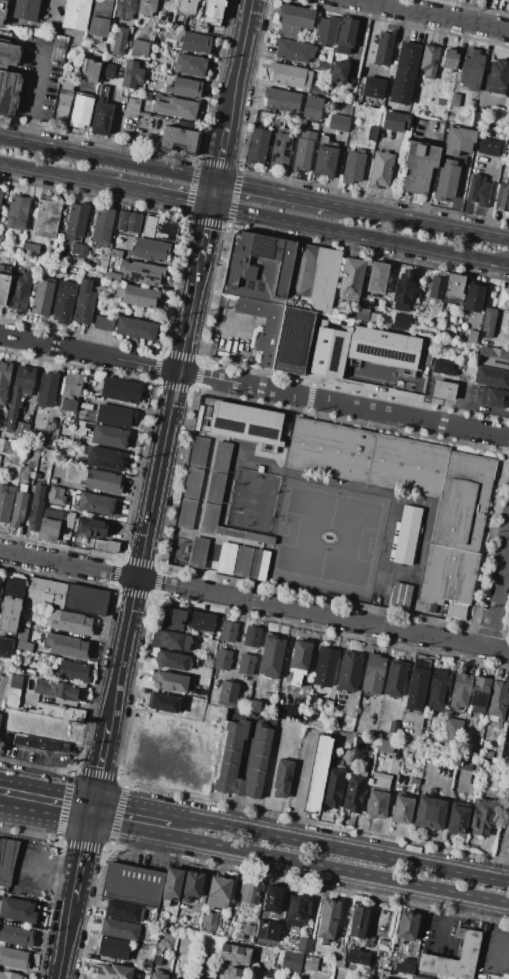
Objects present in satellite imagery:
building: (506, 0)
building: (186, 6)
building: (1, 7)
building: (146, 7)
building: (25, 9)
building: (125, 9)
building: (213, 11)
road: (52, 12)
building: (75, 14)
road: (436, 14)
building: (99, 19)
building: (294, 19)
building: (200, 26)
building: (327, 31)
building: (345, 36)
building: (118, 41)
building: (194, 43)
road: (372, 43)
building: (101, 47)
road: (242, 47)
building: (384, 48)
building: (139, 49)
building: (293, 50)
building: (9, 54)
building: (70, 54)
building: (449, 59)
building: (429, 61)
building: (189, 65)
building: (323, 67)
building: (471, 69)
building: (108, 71)
building: (338, 71)
building: (404, 72)
building: (132, 75)
building: (290, 75)
building: (497, 76)
building: (184, 87)
building: (372, 87)
building: (319, 90)
building: (8, 91)
building: (103, 92)
road: (37, 94)
building: (148, 95)
building: (343, 95)
building: (63, 99)
building: (282, 100)
building: (454, 100)
building: (472, 103)
building: (312, 107)
building: (132, 108)
building: (175, 108)
building: (80, 111)
road: (230, 111)
building: (344, 112)
building: (375, 117)
building: (476, 118)
building: (101, 119)
building: (277, 119)
building: (394, 121)
building: (300, 123)
building: (338, 123)
building: (372, 133)
building: (179, 139)
building: (323, 139)
building: (458, 141)
building: (257, 145)
building: (489, 147)
building: (280, 150)
building: (303, 151)
road: (221, 153)
road: (107, 158)
building: (324, 161)
road: (433, 166)
building: (352, 167)
building: (418, 167)
road: (394, 168)
building: (380, 169)
road: (54, 174)
building: (446, 179)
traffic signals: (216, 180)
building: (478, 190)
building: (29, 191)
road: (272, 191)
road: (459, 191)
road: (213, 193)
building: (1, 195)
road: (160, 195)
building: (502, 197)
traffic signals: (211, 206)
building: (17, 214)
building: (46, 219)
road: (419, 220)
building: (76, 221)
building: (129, 221)
building: (102, 223)
building: (160, 229)
road: (205, 232)
road: (360, 235)
building: (96, 246)
building: (30, 249)
building: (79, 249)
building: (150, 250)
building: (116, 253)
building: (103, 262)
building: (238, 265)
building: (59, 267)
building: (1, 268)
building: (141, 272)
building: (313, 276)
building: (111, 277)
building: (350, 277)
building: (376, 278)
road: (195, 283)
building: (247, 285)
building: (455, 286)
building: (258, 287)
building: (436, 287)
building: (3, 288)
building: (402, 291)
building: (20, 292)
building: (137, 296)
building: (42, 297)
building: (473, 297)
building: (503, 299)
building: (64, 303)
building: (84, 303)
building: (361, 314)
building: (402, 320)
building: (488, 322)
building: (103, 323)
building: (264, 326)
building: (135, 328)
road: (252, 330)
building: (472, 336)
building: (294, 341)
building: (382, 347)
building: (328, 351)
building: (493, 358)
road: (445, 372)
building: (491, 377)
building: (4, 380)
road: (254, 386)
building: (46, 389)
building: (444, 389)
building: (71, 391)
building: (120, 391)
building: (19, 393)
building: (493, 398)
building: (467, 401)
building: (86, 406)
building: (114, 416)
building: (245, 423)
building: (21, 429)
building: (109, 436)
building: (214, 439)
building: (6, 446)
building: (104, 459)
building: (26, 474)
building: (36, 476)
building: (52, 481)
building: (102, 481)
building: (191, 482)
building: (207, 486)
building: (56, 496)
building: (5, 502)
building: (96, 503)
building: (18, 506)
building: (35, 508)
road: (149, 515)
building: (208, 515)
building: (66, 525)
building: (457, 525)
building: (48, 529)
building: (89, 531)
building: (405, 534)
building: (105, 546)
building: (197, 552)
building: (237, 556)
building: (14, 586)
building: (67, 596)
building: (399, 596)
road: (498, 597)
road: (254, 601)
building: (9, 614)
building: (171, 618)
building: (202, 622)
building: (70, 623)
building: (25, 624)
building: (227, 631)
building: (252, 636)
building: (169, 640)
building: (23, 641)
building: (66, 645)
building: (6, 648)
building: (270, 657)
road: (283, 659)
building: (172, 660)
building: (222, 660)
building: (299, 660)
building: (246, 664)
building: (324, 667)
road: (162, 669)
building: (348, 671)
building: (73, 672)
road: (358, 672)
building: (373, 673)
building: (395, 678)
building: (169, 681)
road: (424, 688)
building: (438, 689)
building: (55, 690)
building: (417, 690)
building: (460, 691)
building: (228, 692)
building: (479, 693)
building: (12, 697)
building: (498, 699)
building: (164, 703)
building: (255, 706)
building: (327, 707)
building: (281, 711)
building: (58, 712)
building: (507, 715)
building: (393, 726)
building: (410, 726)
building: (451, 731)
building: (37, 743)
building: (385, 746)
road: (245, 747)
building: (357, 753)
building: (489, 754)
building: (229, 759)
road: (99, 760)
building: (449, 760)
building: (465, 763)
building: (317, 774)
building: (282, 777)
building: (379, 781)
road: (301, 783)
road: (46, 784)
building: (414, 784)
road: (237, 787)
building: (332, 787)
building: (353, 793)
traffic signals: (92, 797)
building: (376, 802)
road: (387, 804)
road: (5, 807)
road: (142, 807)
road: (5, 808)
road: (89, 809)
building: (402, 809)
road: (232, 810)
building: (430, 813)
road: (48, 815)
building: (482, 817)
building: (457, 818)
traffic signals: (87, 822)
road: (351, 848)
road: (7, 856)
road: (79, 858)
road: (484, 858)
building: (7, 860)
road: (298, 863)
road: (45, 865)
road: (203, 881)
building: (171, 884)
building: (132, 885)
building: (191, 886)
building: (217, 890)
building: (250, 892)
building: (270, 906)
building: (16, 910)
building: (121, 911)
building: (295, 911)
road: (372, 912)
building: (326, 919)
building: (207, 922)
building: (357, 922)
road: (444, 923)
building: (406, 926)
building: (119, 929)
building: (266, 931)
building: (16, 936)
road: (63, 937)
building: (152, 943)
building: (303, 945)
building: (284, 946)
building: (113, 948)
building: (234, 953)
building: (357, 957)
building: (428, 957)
building: (13, 958)
building: (290, 960)
building: (311, 964)
building: (204, 969)
building: (403, 969)
building: (112, 971)
building: (234, 972)
building: (275, 973)
building: (10, 975)
building: (157, 975)
building: (170, 978)
building: (172, 978)
building: (193, 978)
building: (383, 978)
building: (419, 978)

